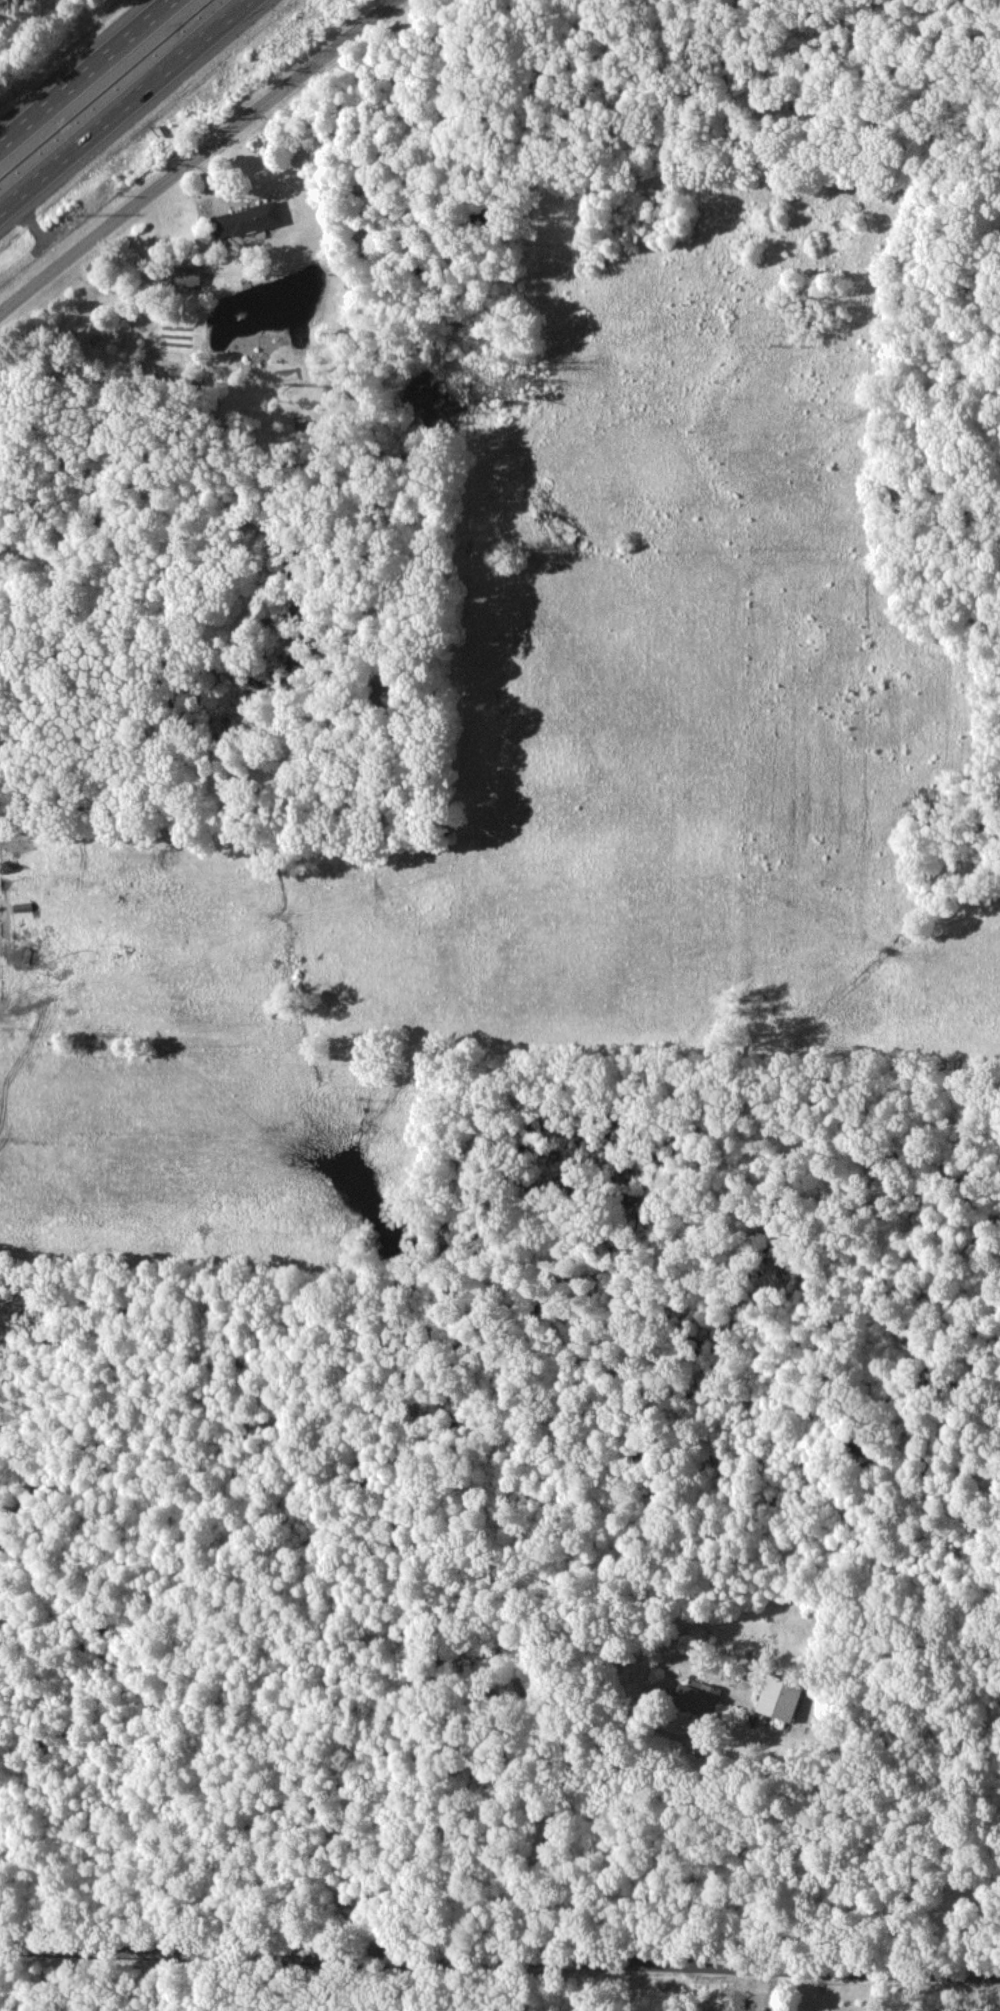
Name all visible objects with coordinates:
road: (82, 69)
road: (120, 102)
road: (197, 158)
building: (247, 219)
building: (186, 275)
building: (697, 1696)
building: (779, 1697)
road: (555, 1813)
road: (499, 1957)

